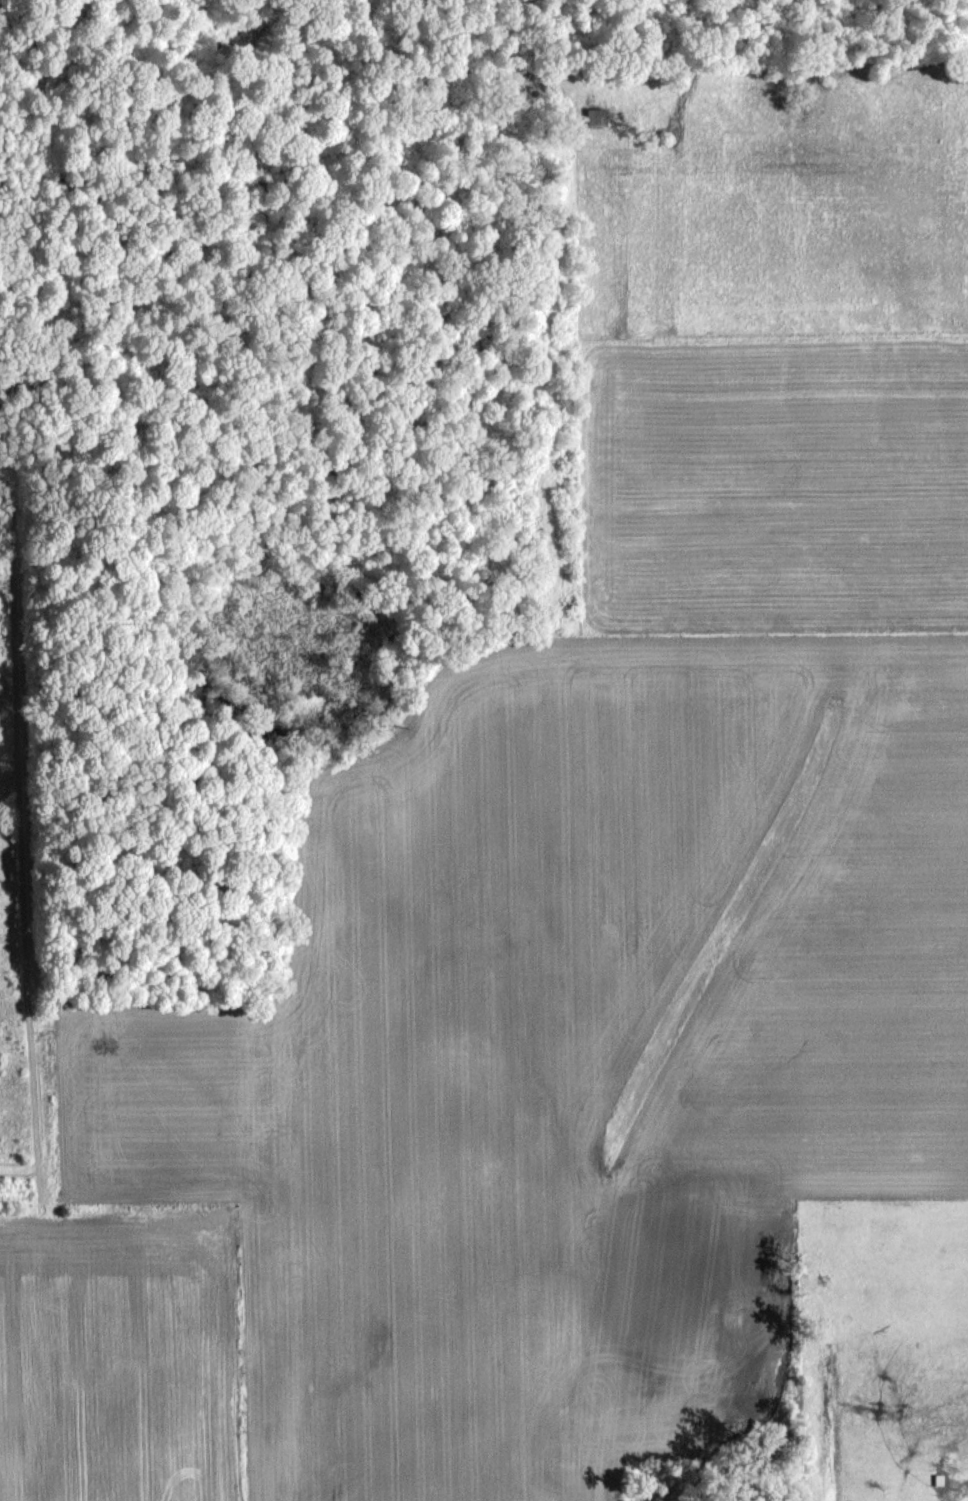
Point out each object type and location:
building: (600, 117)

